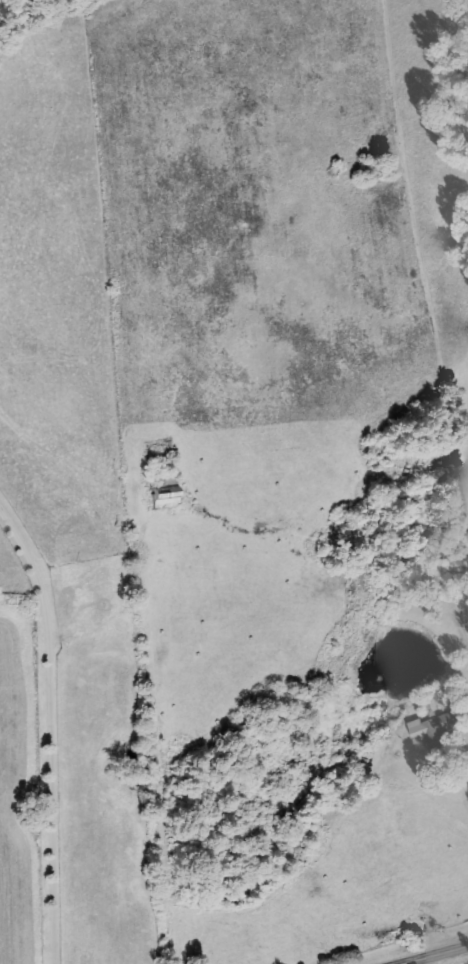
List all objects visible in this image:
building: (439, 726)
road: (54, 731)
road: (439, 956)

